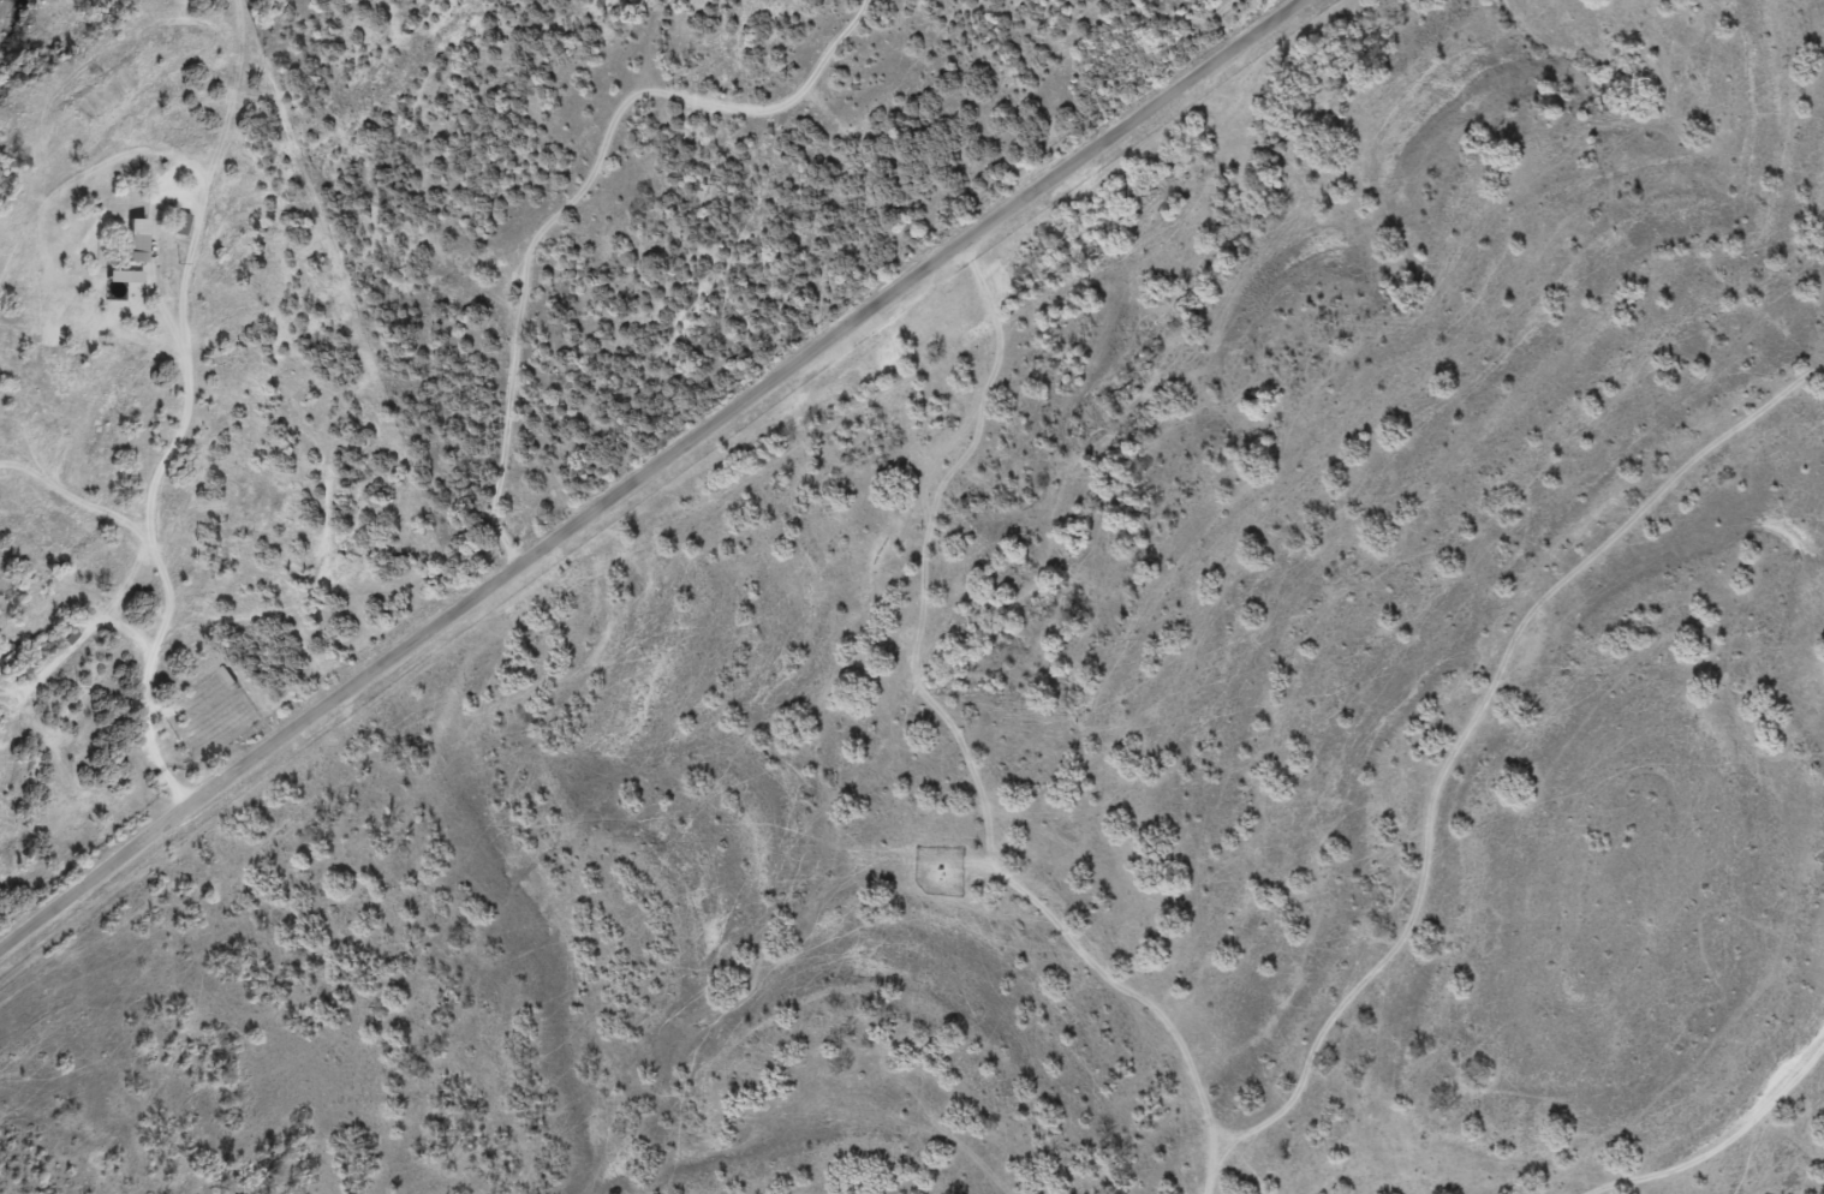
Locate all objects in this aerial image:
road: (562, 203)
building: (183, 223)
building: (139, 246)
road: (650, 484)
building: (42, 608)
road: (1663, 1118)

